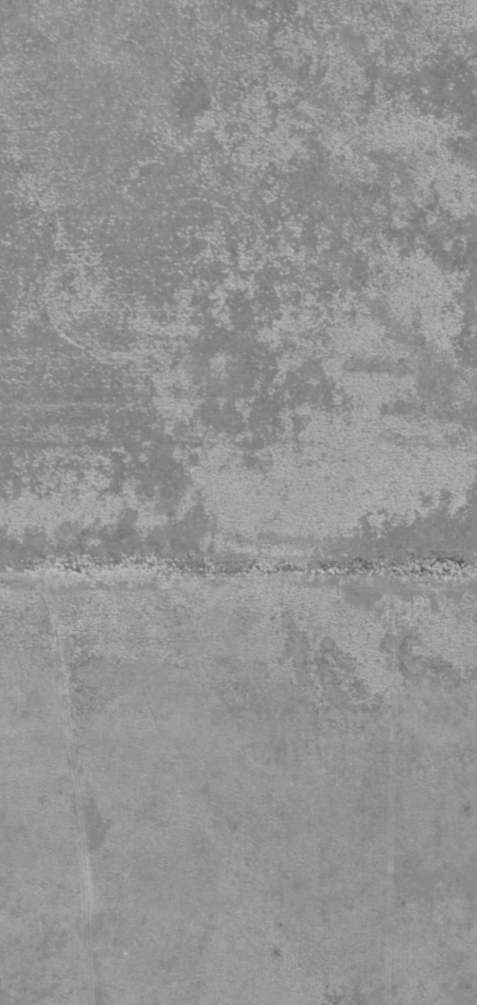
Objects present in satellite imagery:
road: (78, 767)

